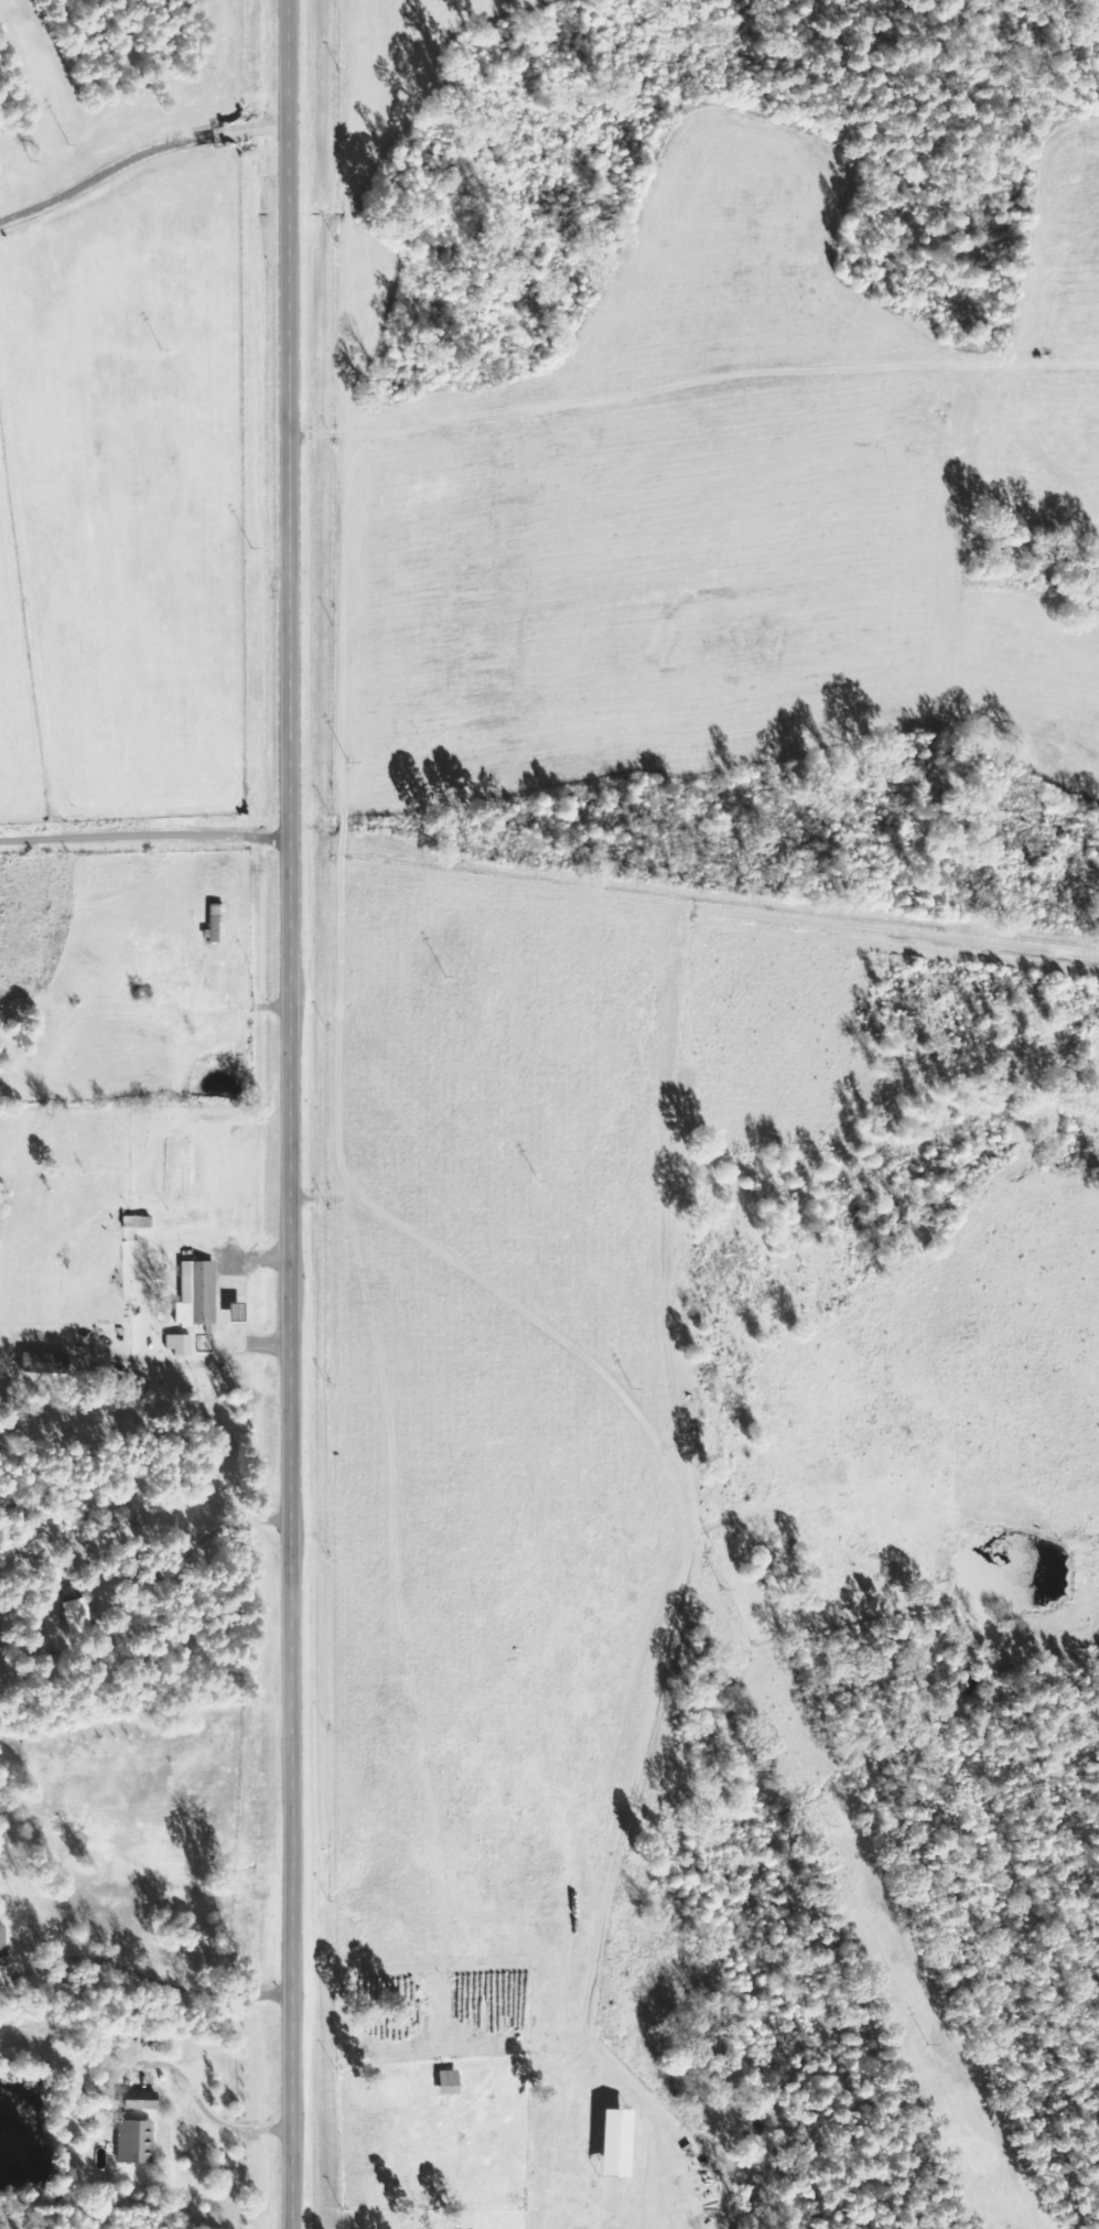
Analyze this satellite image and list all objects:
road: (690, 387)
road: (144, 840)
road: (289, 1114)
building: (195, 1295)
building: (74, 1616)
road: (144, 1801)
building: (1, 1946)
building: (448, 2082)
building: (139, 2099)
road: (206, 2112)
building: (133, 2140)
building: (617, 2143)

